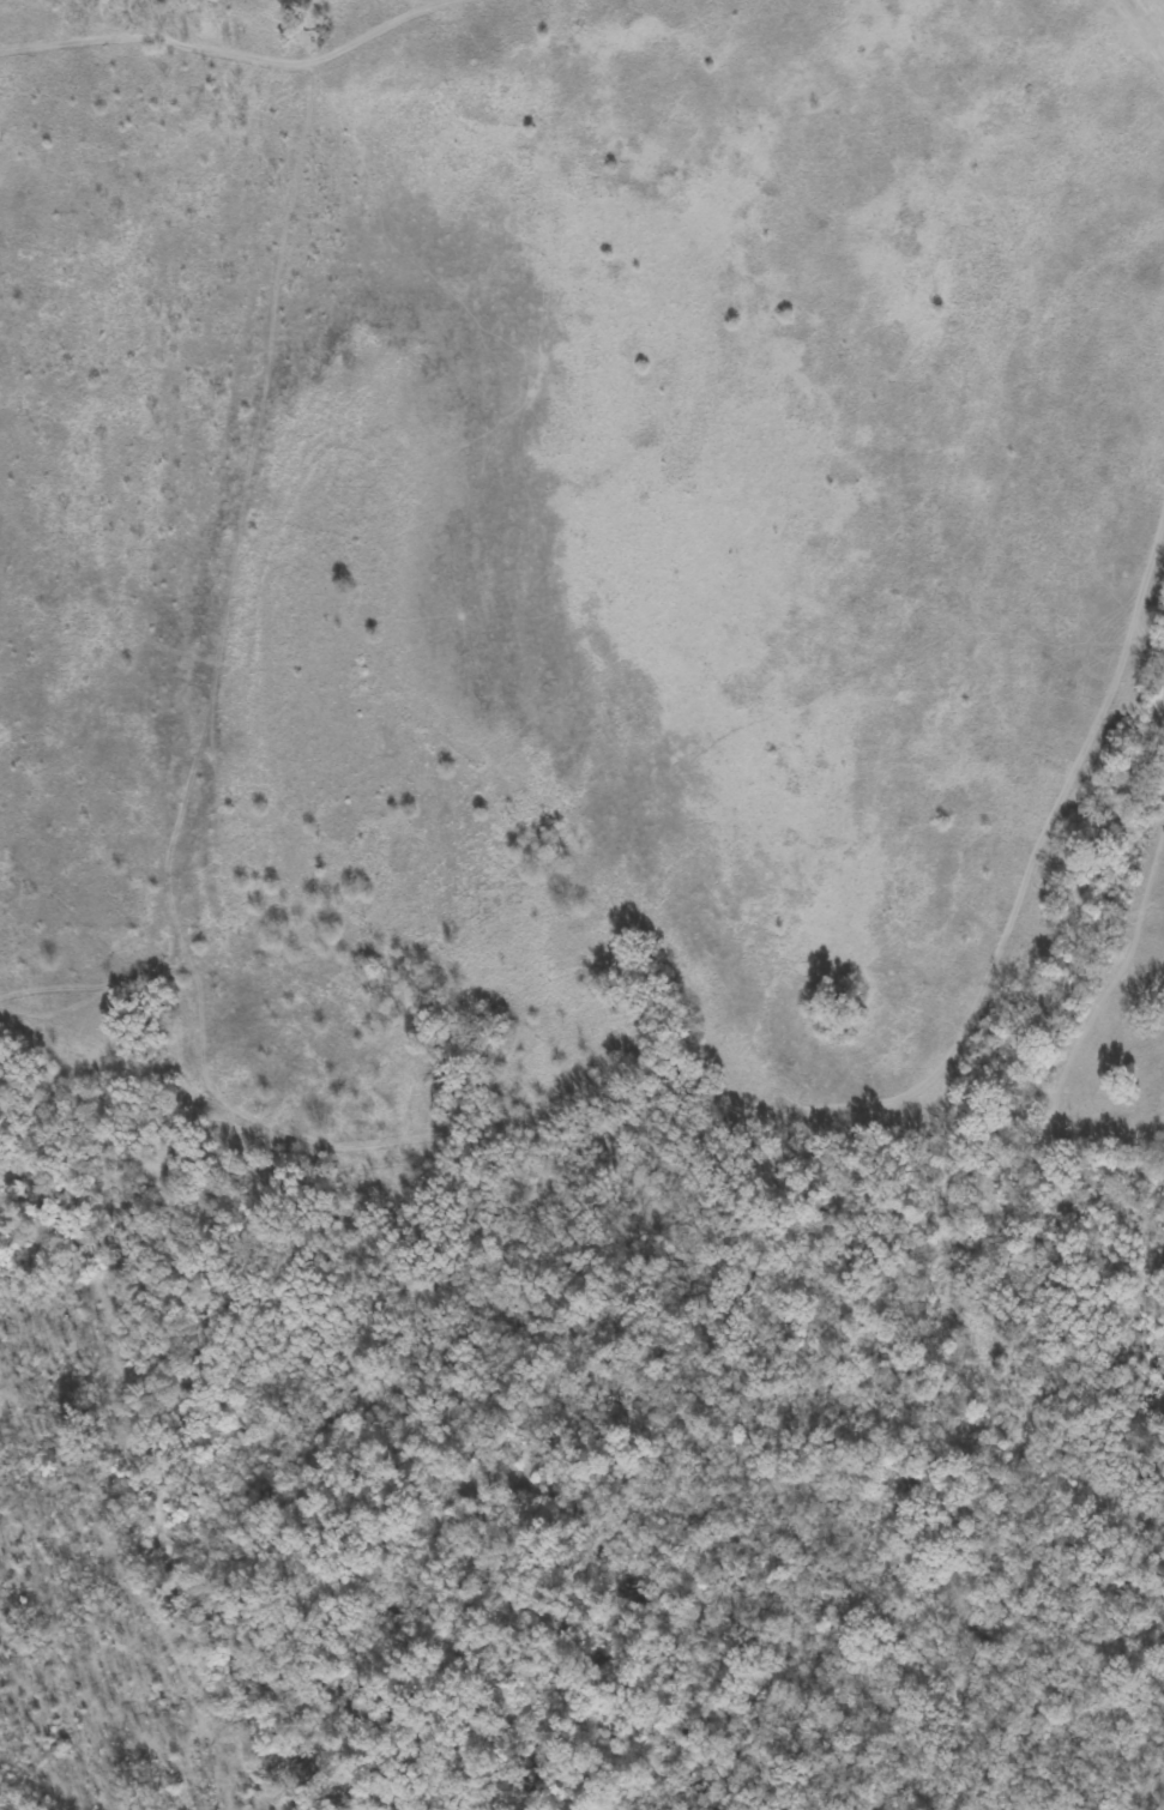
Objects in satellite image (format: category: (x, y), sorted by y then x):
road: (1097, 1396)

